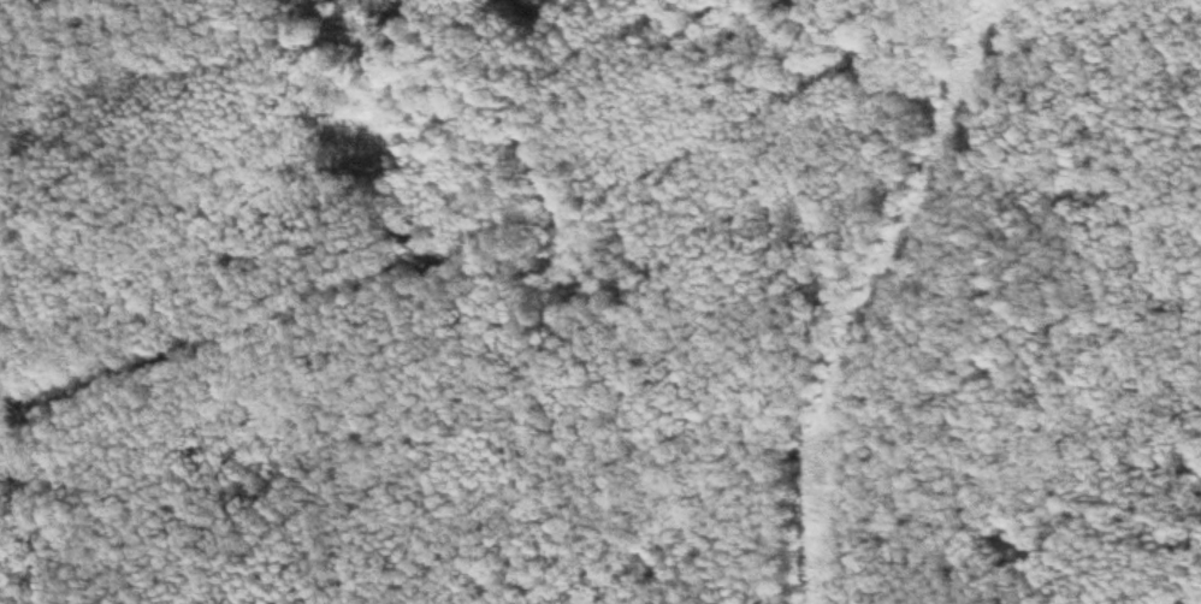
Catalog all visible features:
road: (484, 251)

